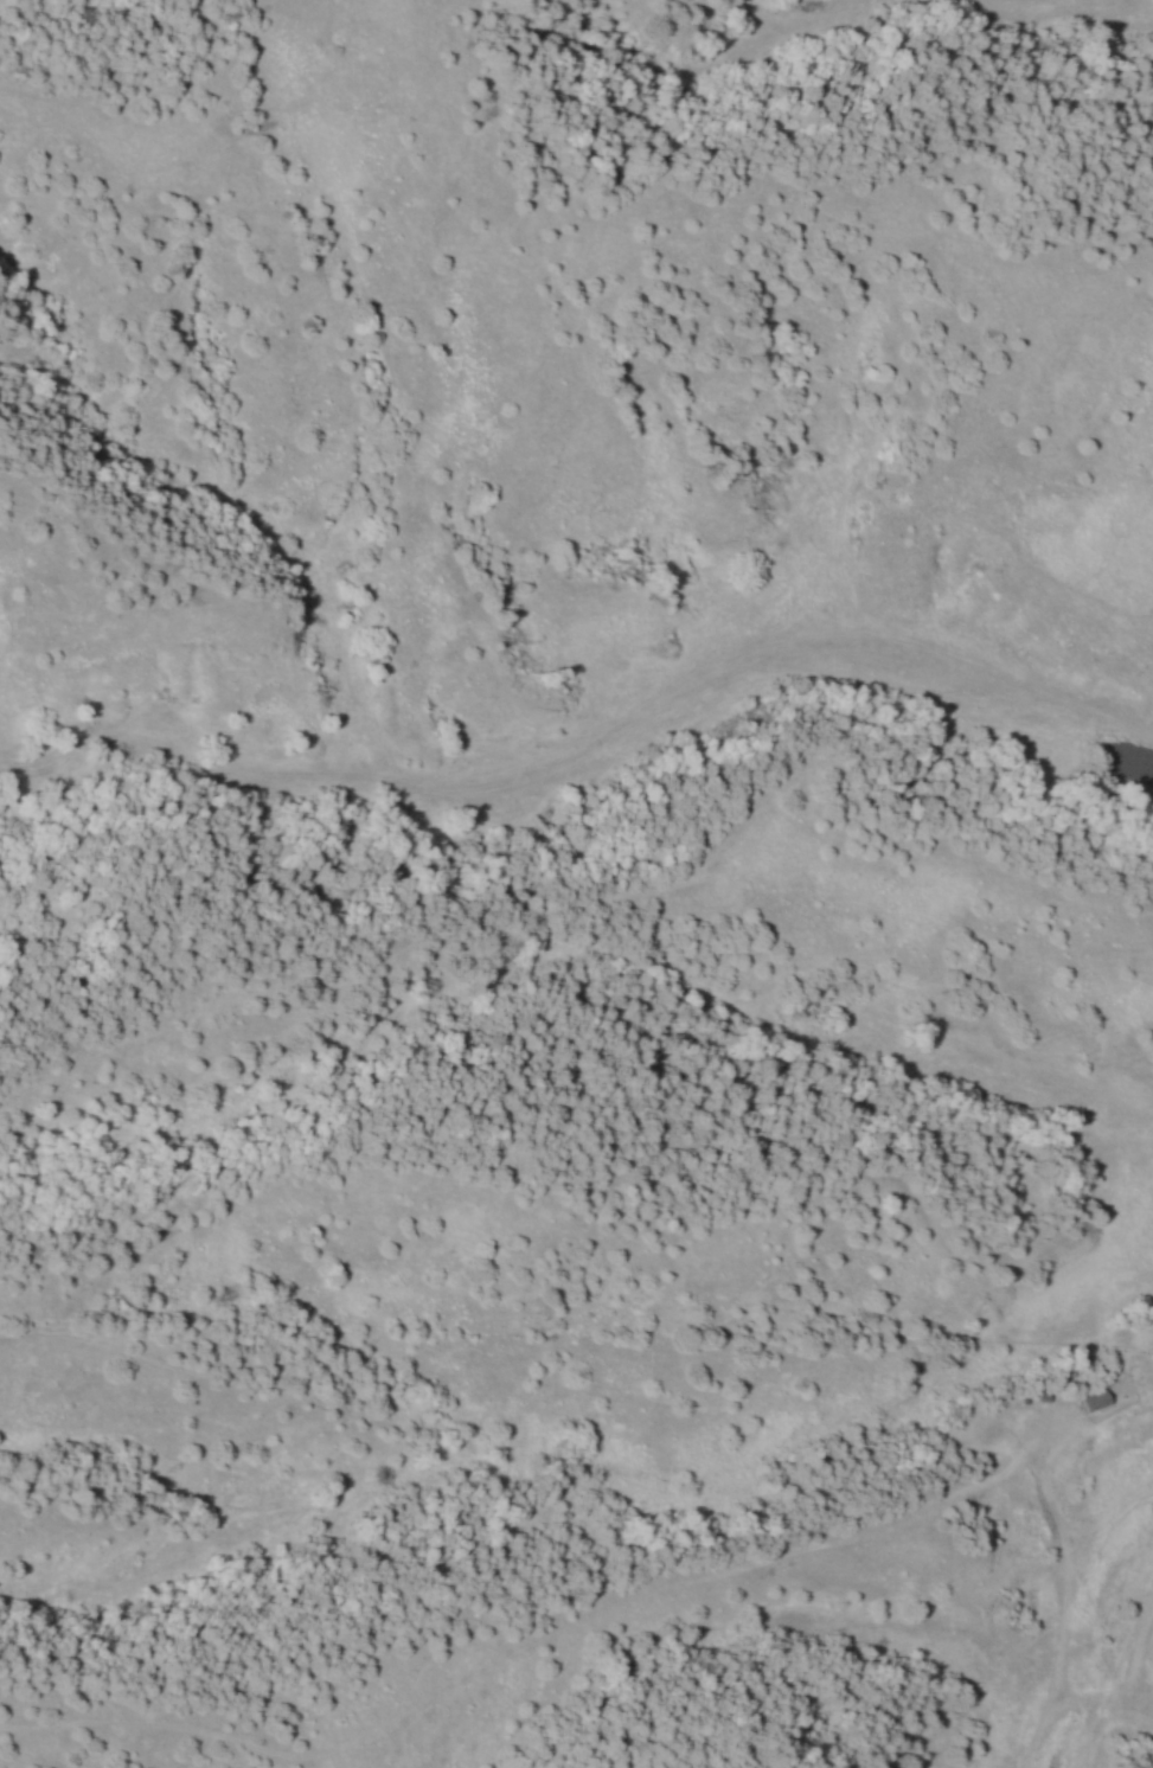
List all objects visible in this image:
building: (1081, 1402)
road: (1114, 1712)

